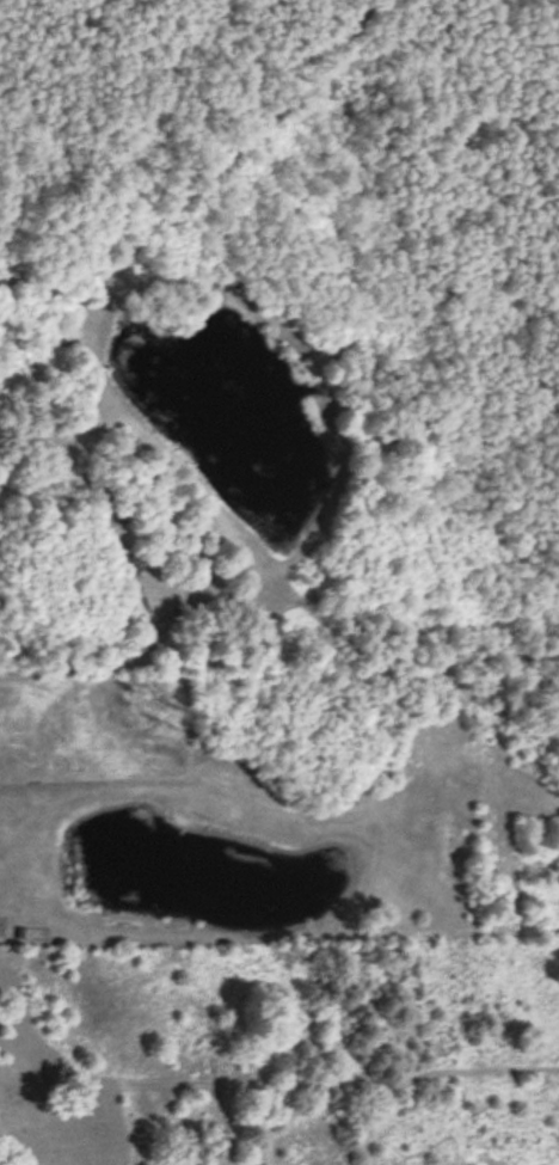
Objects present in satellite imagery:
building: (8, 762)

